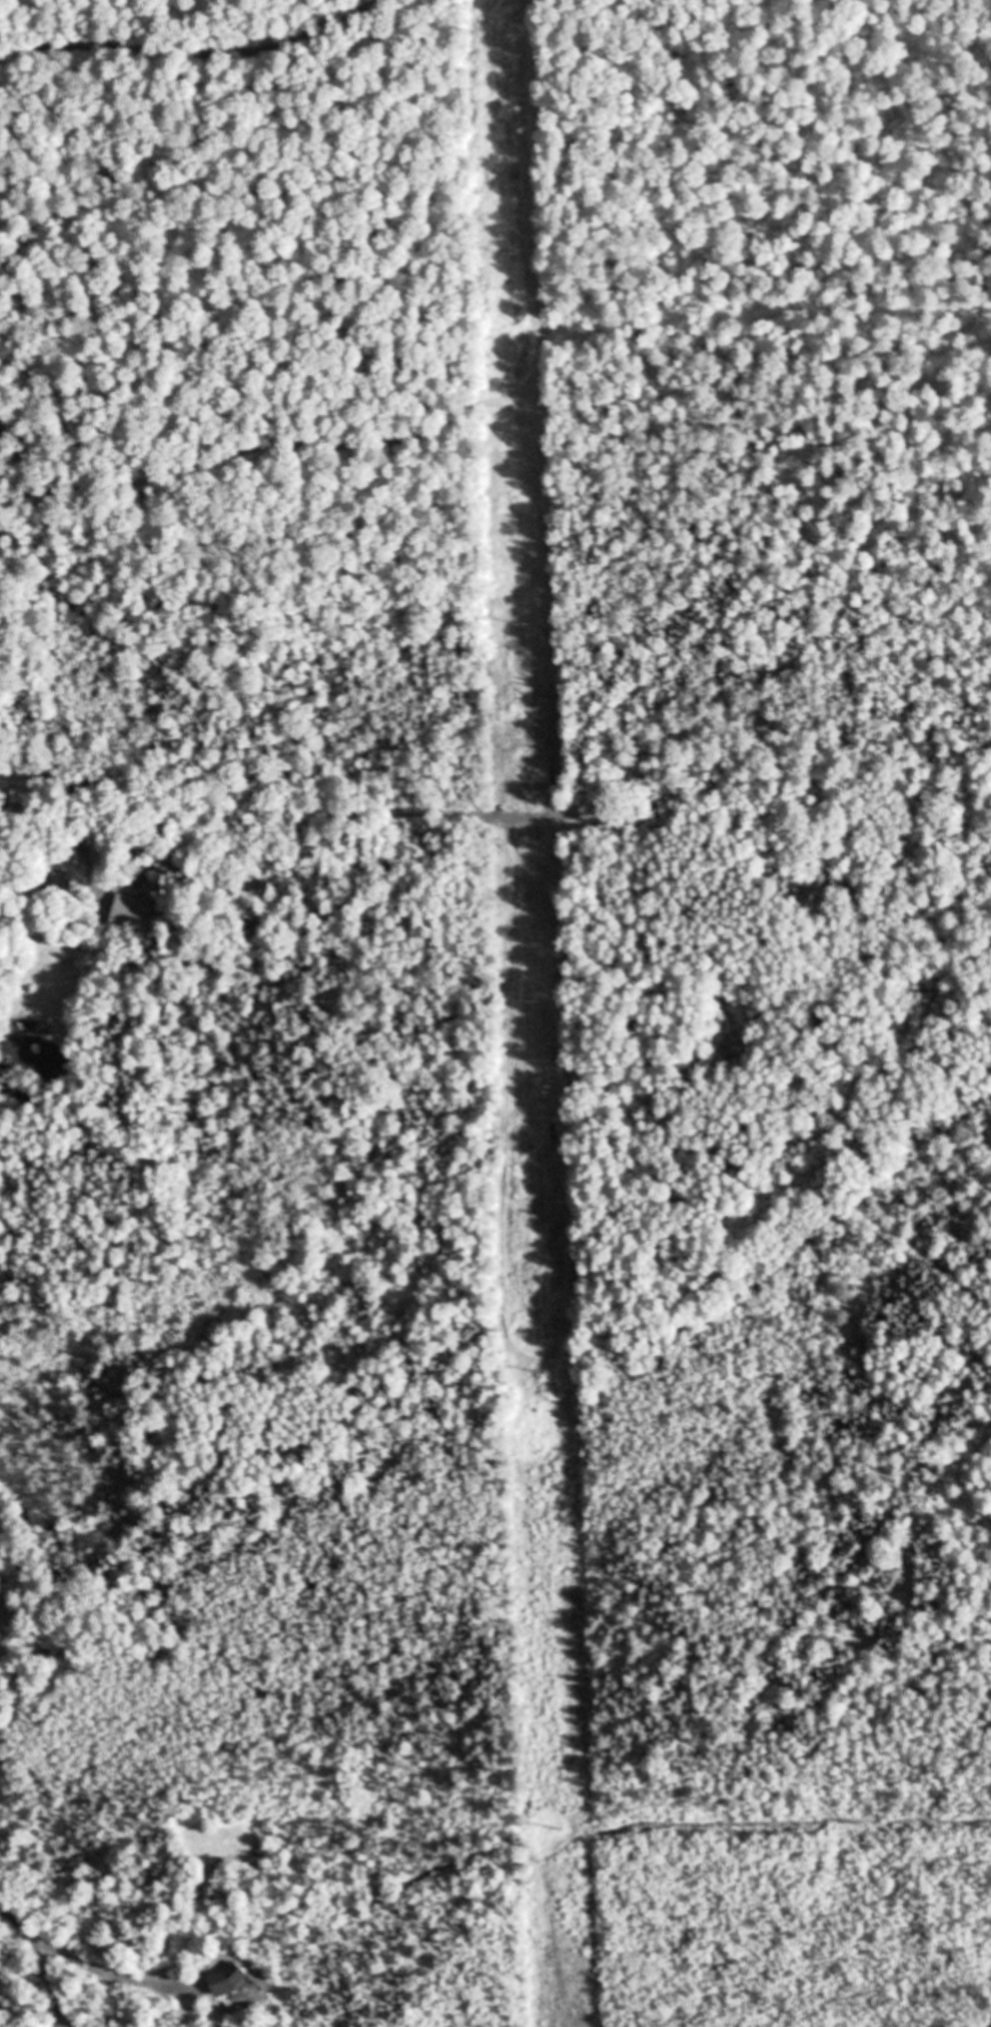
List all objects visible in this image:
road: (189, 41)
road: (324, 801)
building: (134, 915)
building: (230, 1980)

